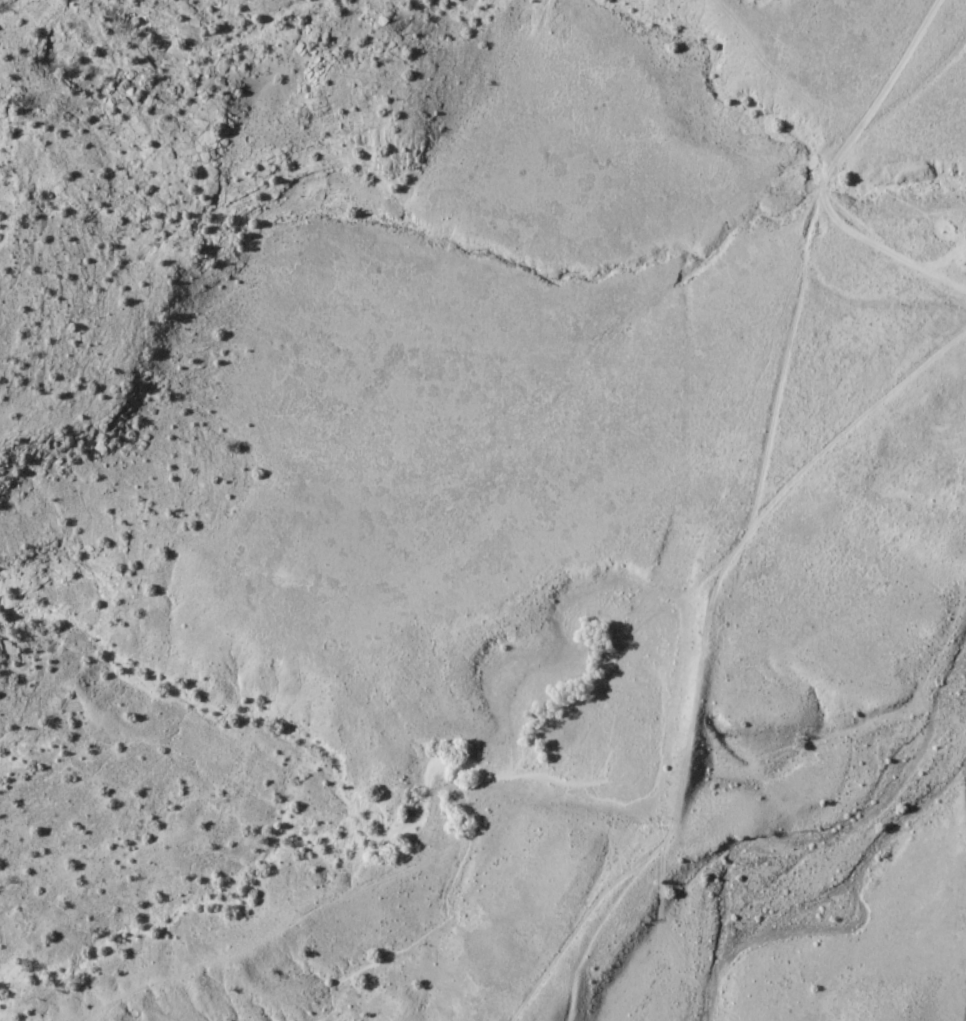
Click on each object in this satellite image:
road: (831, 169)
road: (701, 651)
river: (816, 846)
road: (513, 1020)
road: (514, 1020)

